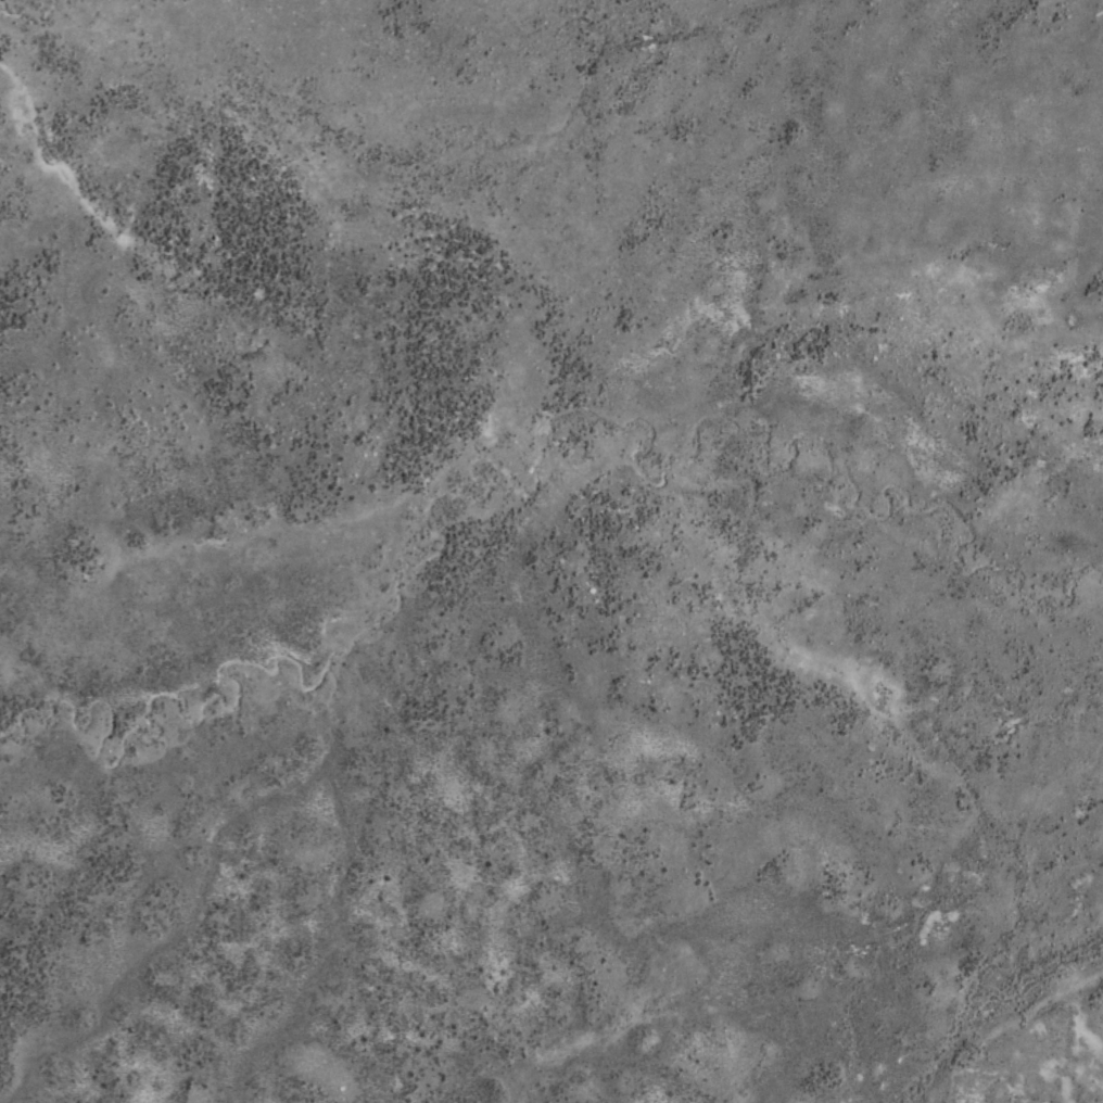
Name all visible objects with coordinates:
crop: (551, 551)

